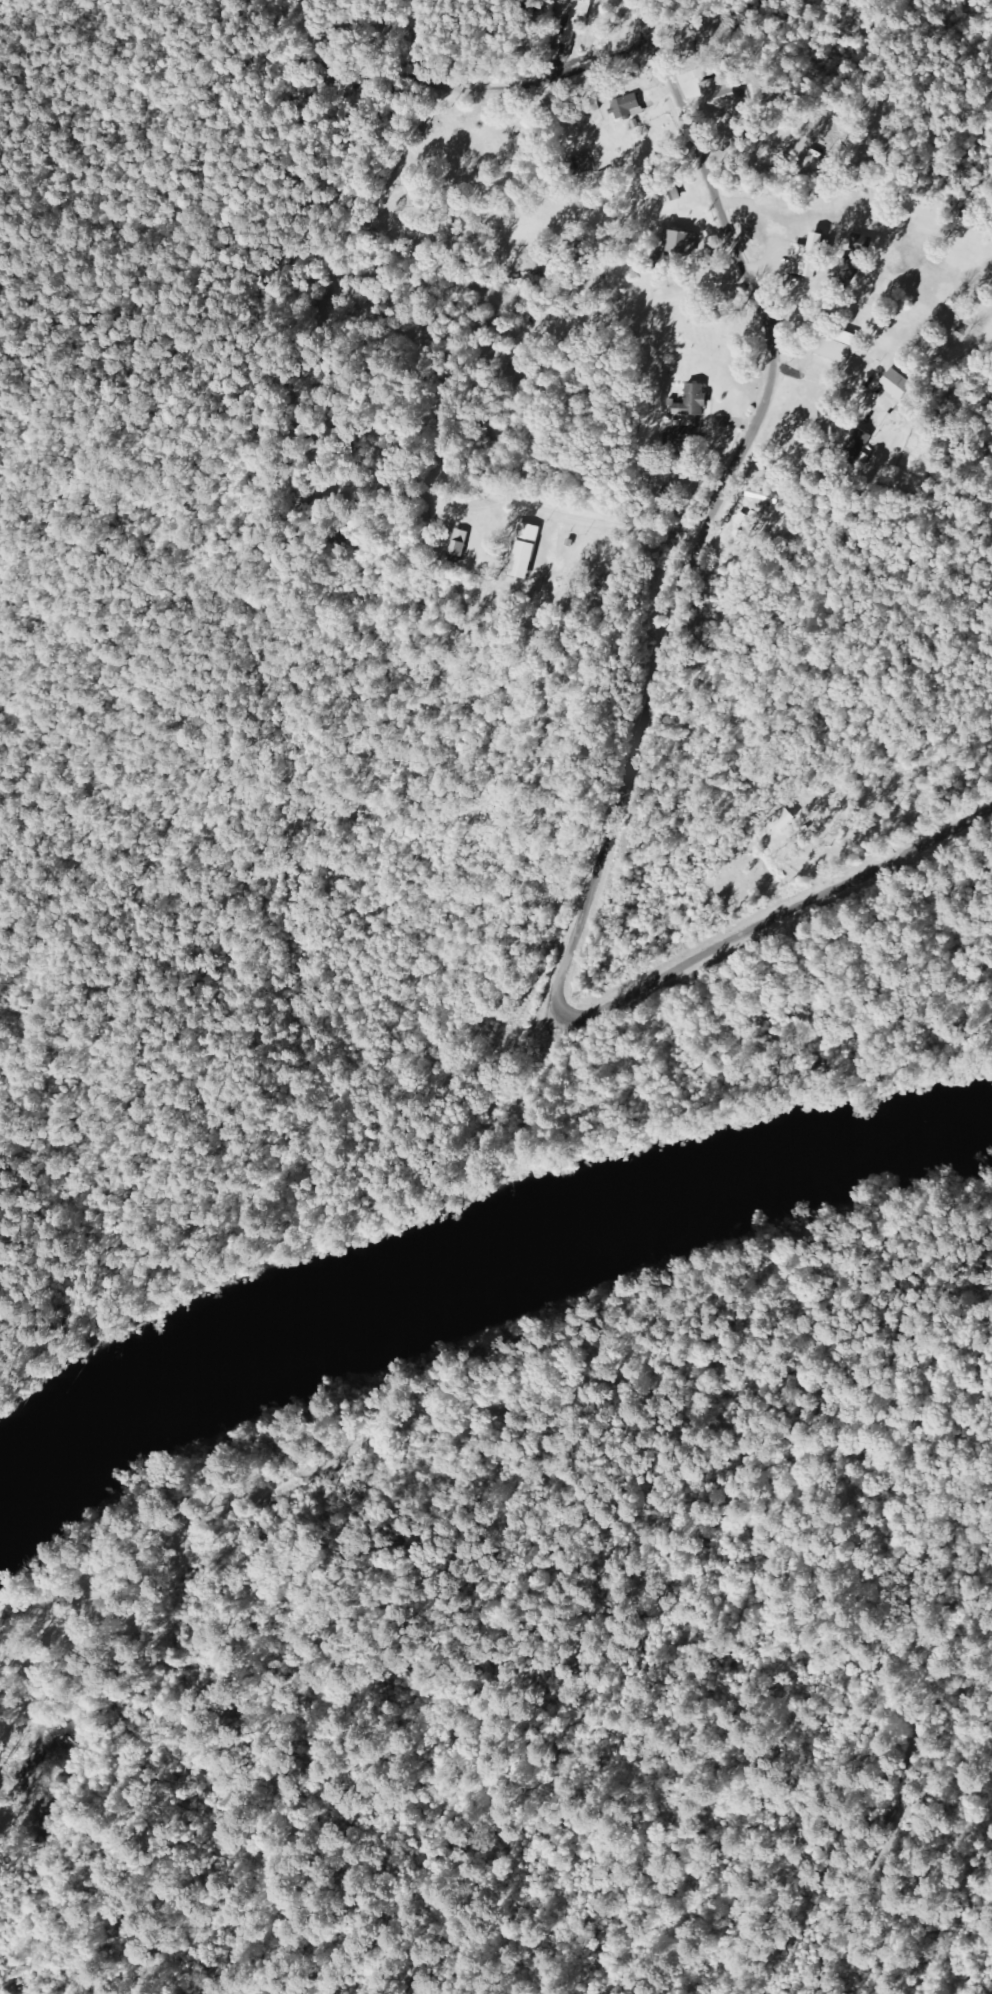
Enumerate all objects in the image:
building: (575, 20)
building: (720, 103)
building: (627, 107)
building: (671, 194)
building: (680, 243)
building: (804, 261)
building: (848, 269)
building: (832, 350)
building: (895, 384)
building: (691, 408)
building: (856, 446)
road: (755, 538)
building: (464, 542)
road: (498, 543)
building: (532, 550)
road: (310, 905)
road: (764, 929)
road: (566, 1108)
river: (473, 1267)
road: (662, 1426)

